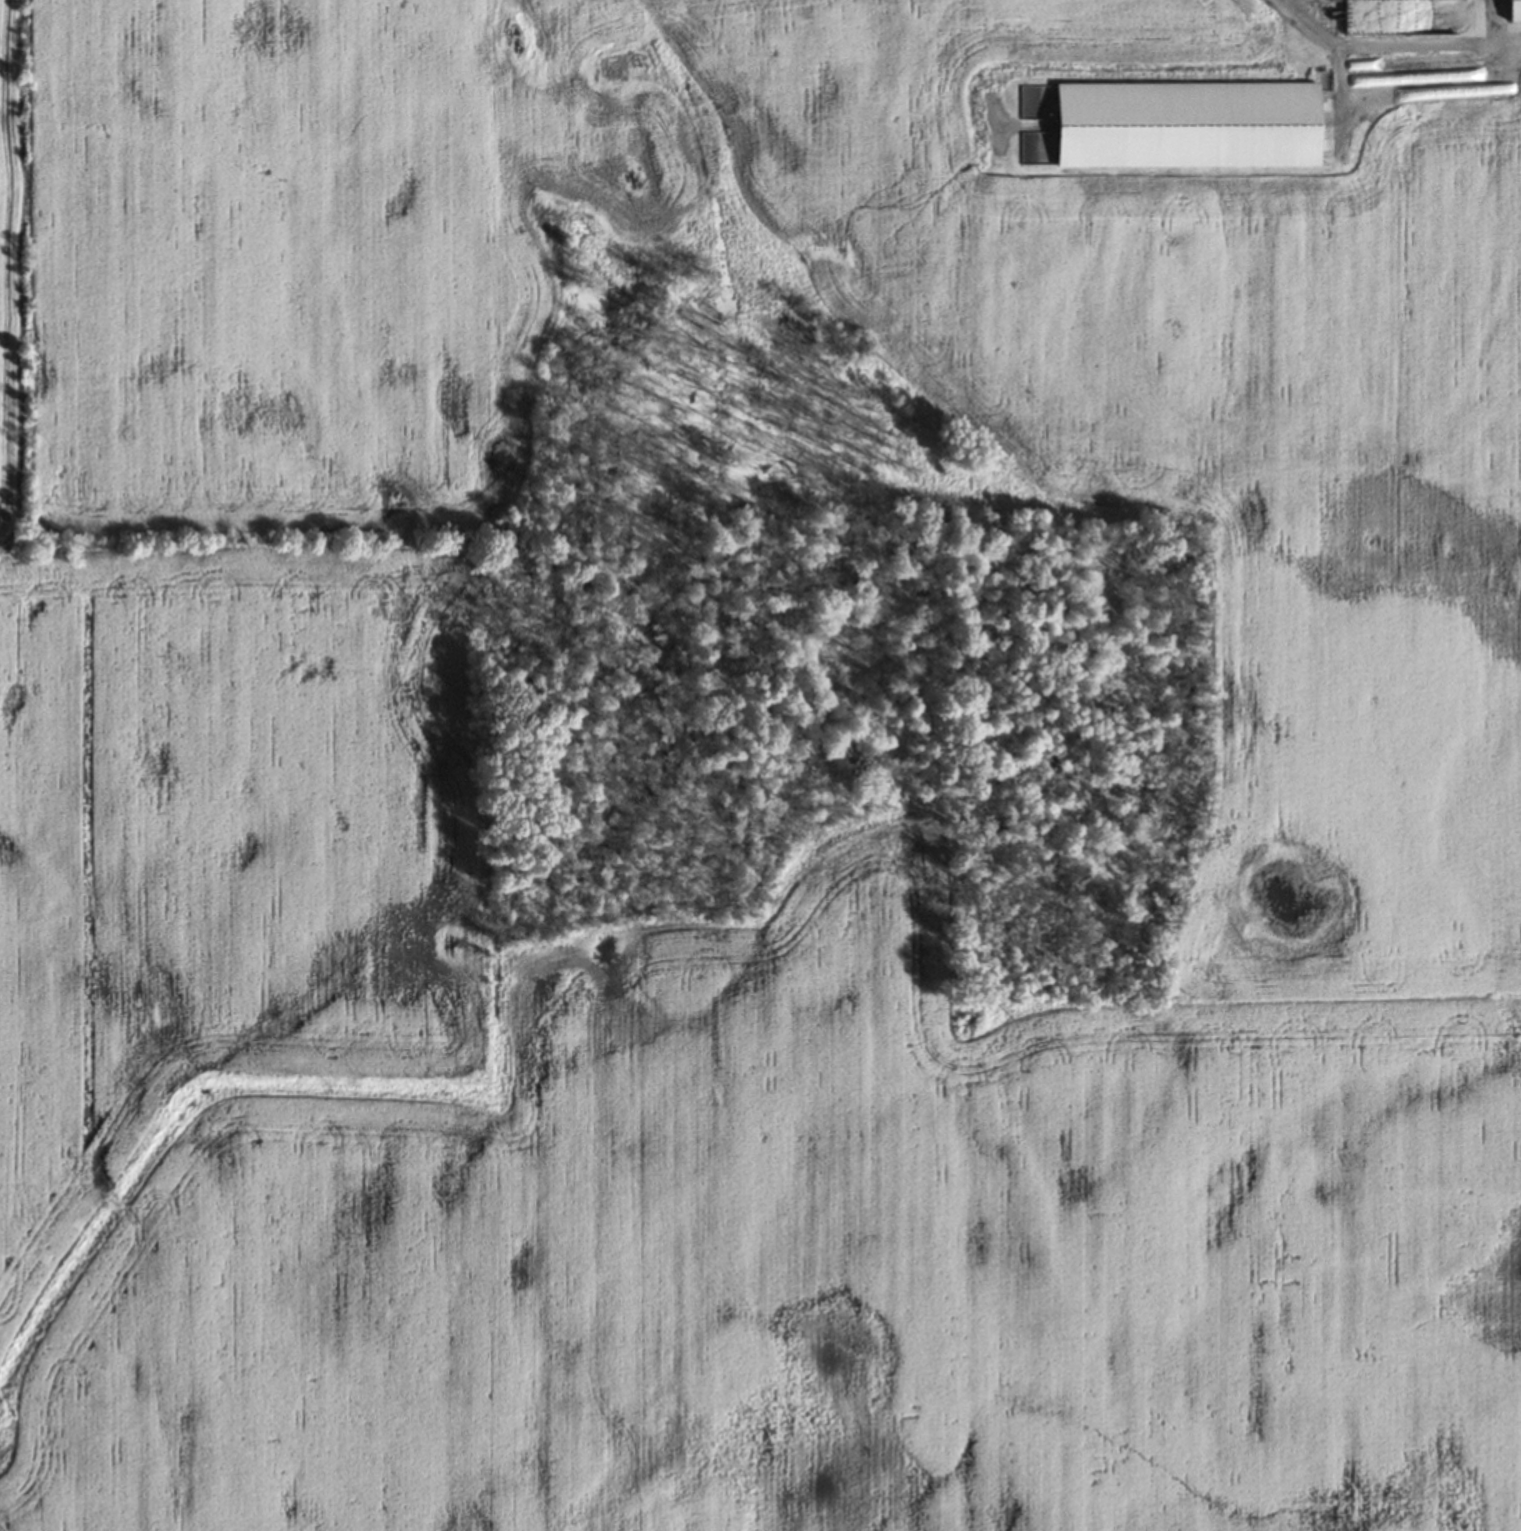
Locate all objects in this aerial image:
building: (1514, 11)
building: (1376, 17)
road: (1449, 67)

